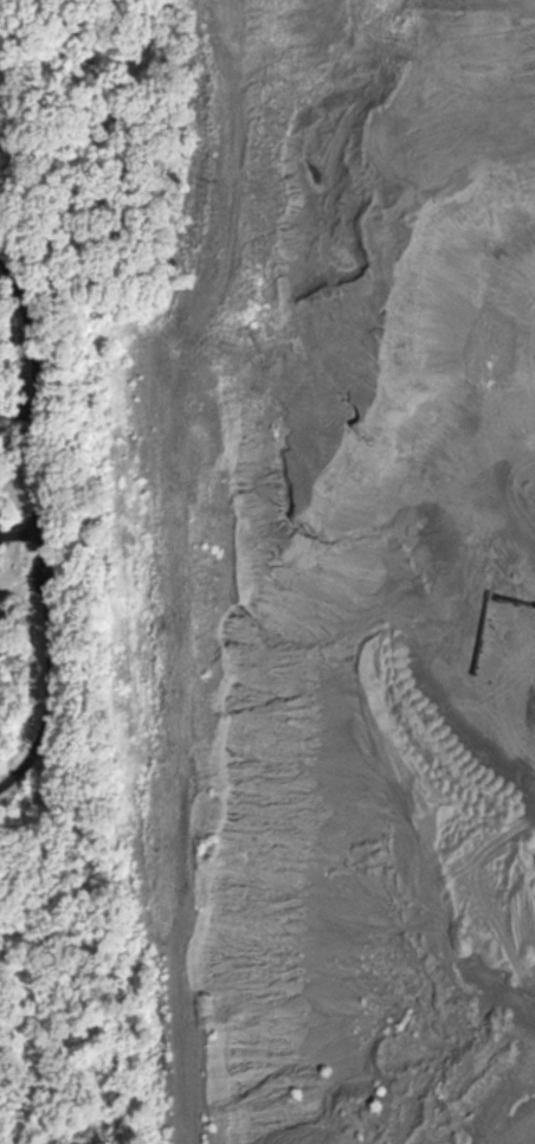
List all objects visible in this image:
road: (44, 521)

